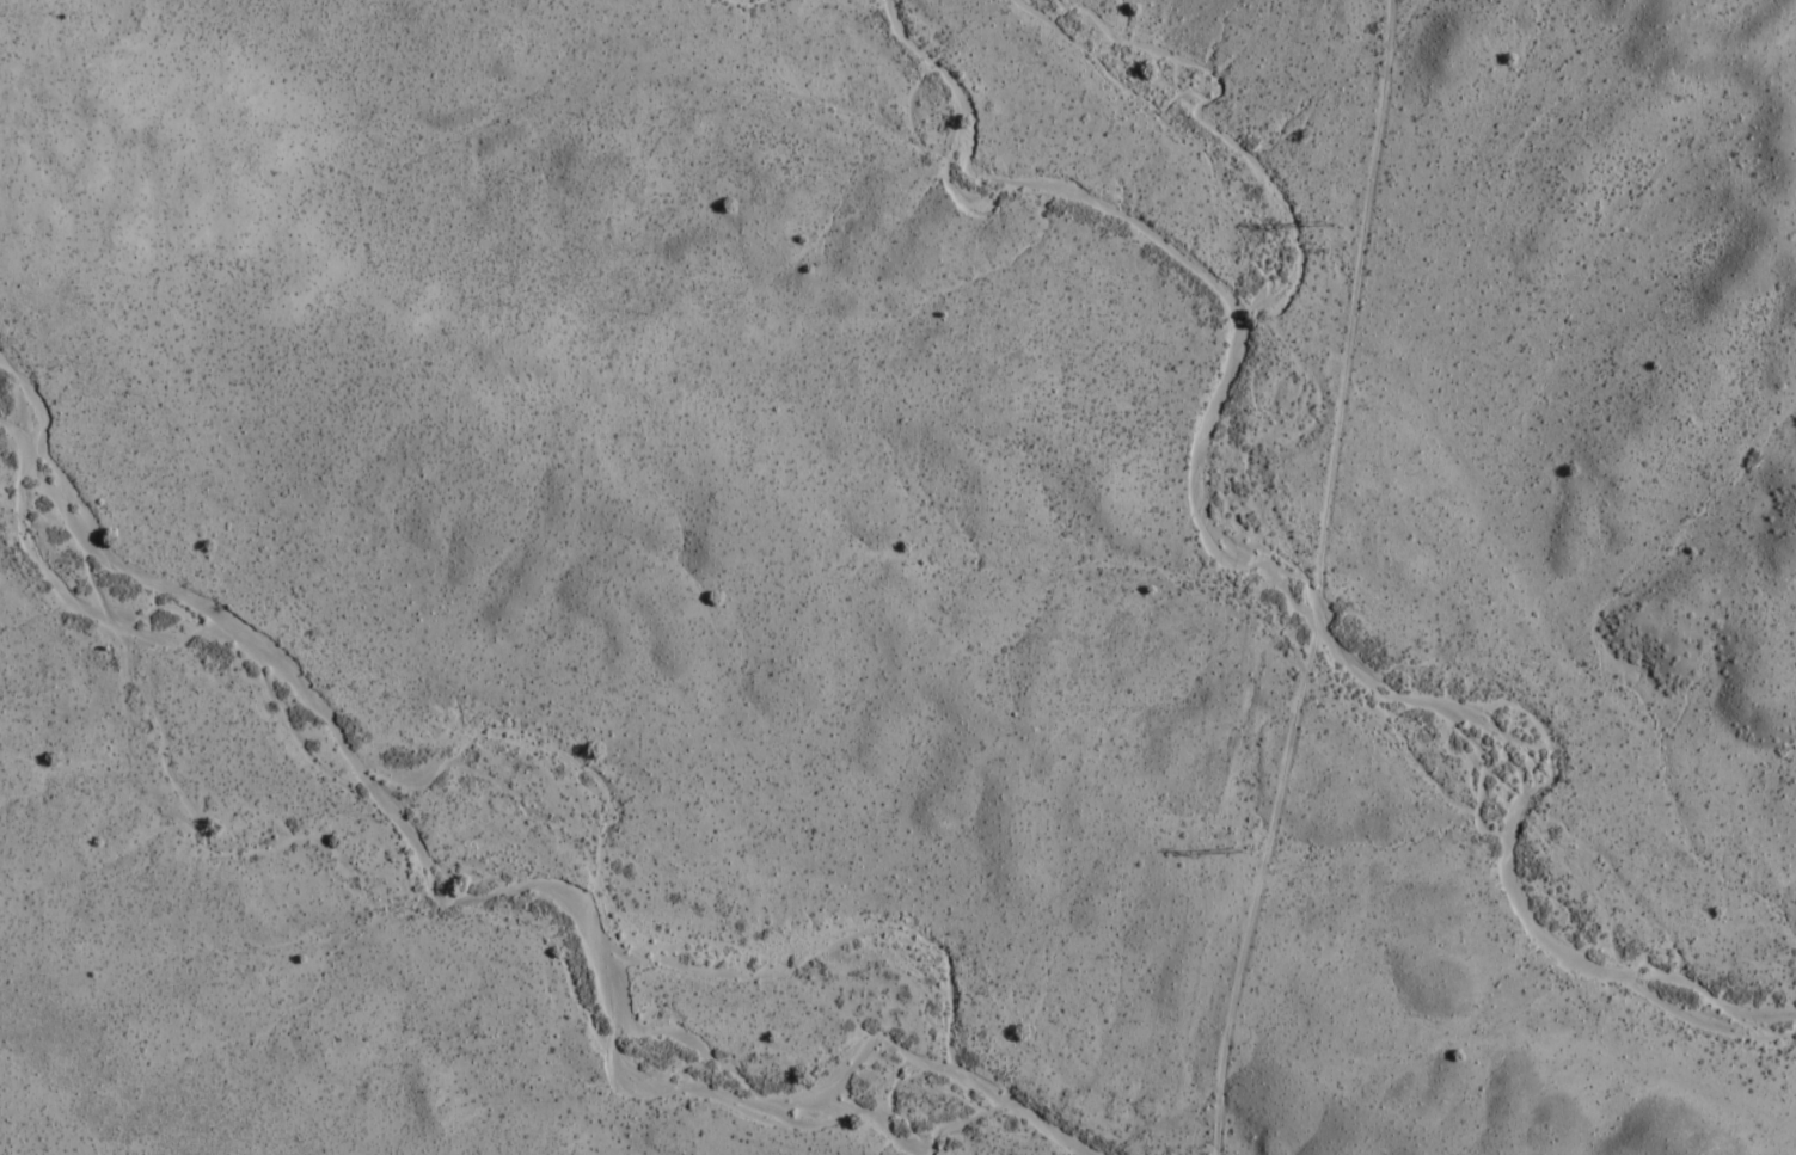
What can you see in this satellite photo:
power tower: (1337, 219)
power tower: (1243, 848)

